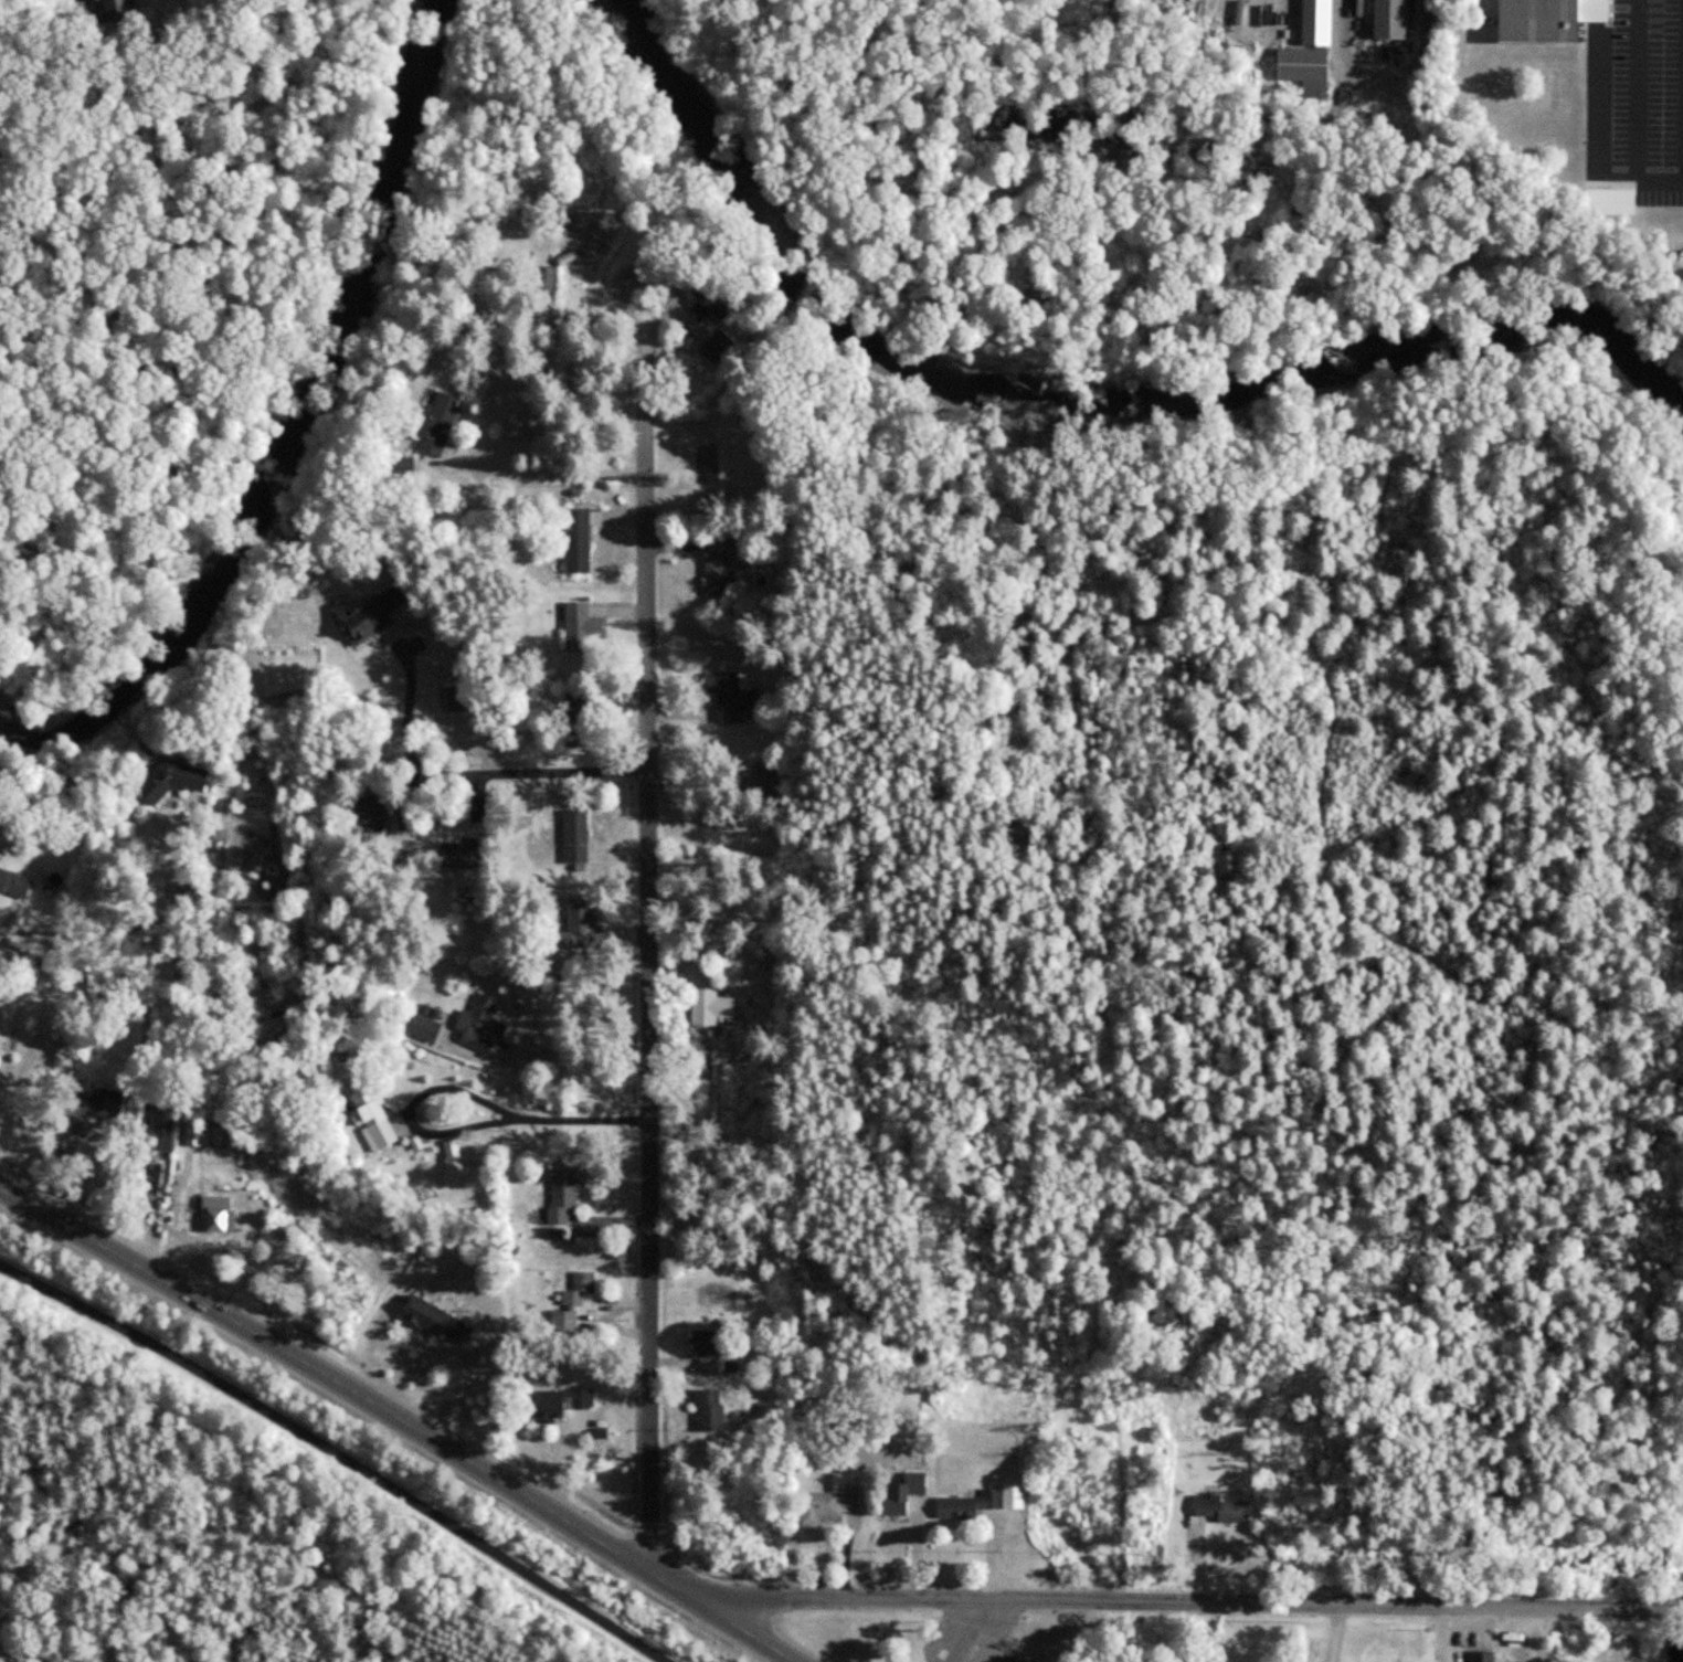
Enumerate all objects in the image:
building: (110, 18)
building: (1389, 18)
building: (1547, 19)
building: (1305, 67)
road: (1636, 112)
building: (1682, 282)
building: (719, 306)
building: (724, 352)
river: (1093, 391)
building: (442, 420)
river: (298, 426)
road: (548, 469)
building: (404, 474)
building: (579, 541)
building: (722, 567)
building: (363, 620)
building: (582, 620)
building: (455, 695)
building: (734, 696)
road: (406, 709)
building: (576, 719)
road: (528, 774)
building: (765, 776)
building: (171, 780)
building: (378, 816)
building: (576, 837)
building: (464, 853)
building: (13, 883)
building: (186, 891)
road: (652, 922)
road: (7, 923)
building: (578, 924)
building: (713, 1009)
building: (478, 1019)
building: (424, 1030)
road: (146, 1036)
building: (726, 1050)
building: (0, 1066)
road: (574, 1066)
building: (93, 1103)
building: (374, 1115)
building: (167, 1122)
building: (195, 1141)
building: (151, 1176)
building: (561, 1199)
building: (216, 1210)
building: (582, 1290)
building: (437, 1319)
building: (708, 1337)
building: (712, 1364)
road: (379, 1366)
building: (561, 1401)
building: (710, 1410)
road: (401, 1420)
road: (342, 1449)
building: (906, 1496)
building: (986, 1503)
building: (835, 1505)
building: (1225, 1508)
road: (1179, 1601)
road: (1675, 1609)
park: (293, 1618)
road: (779, 1655)
building: (1483, 1655)
building: (1016, 1658)

